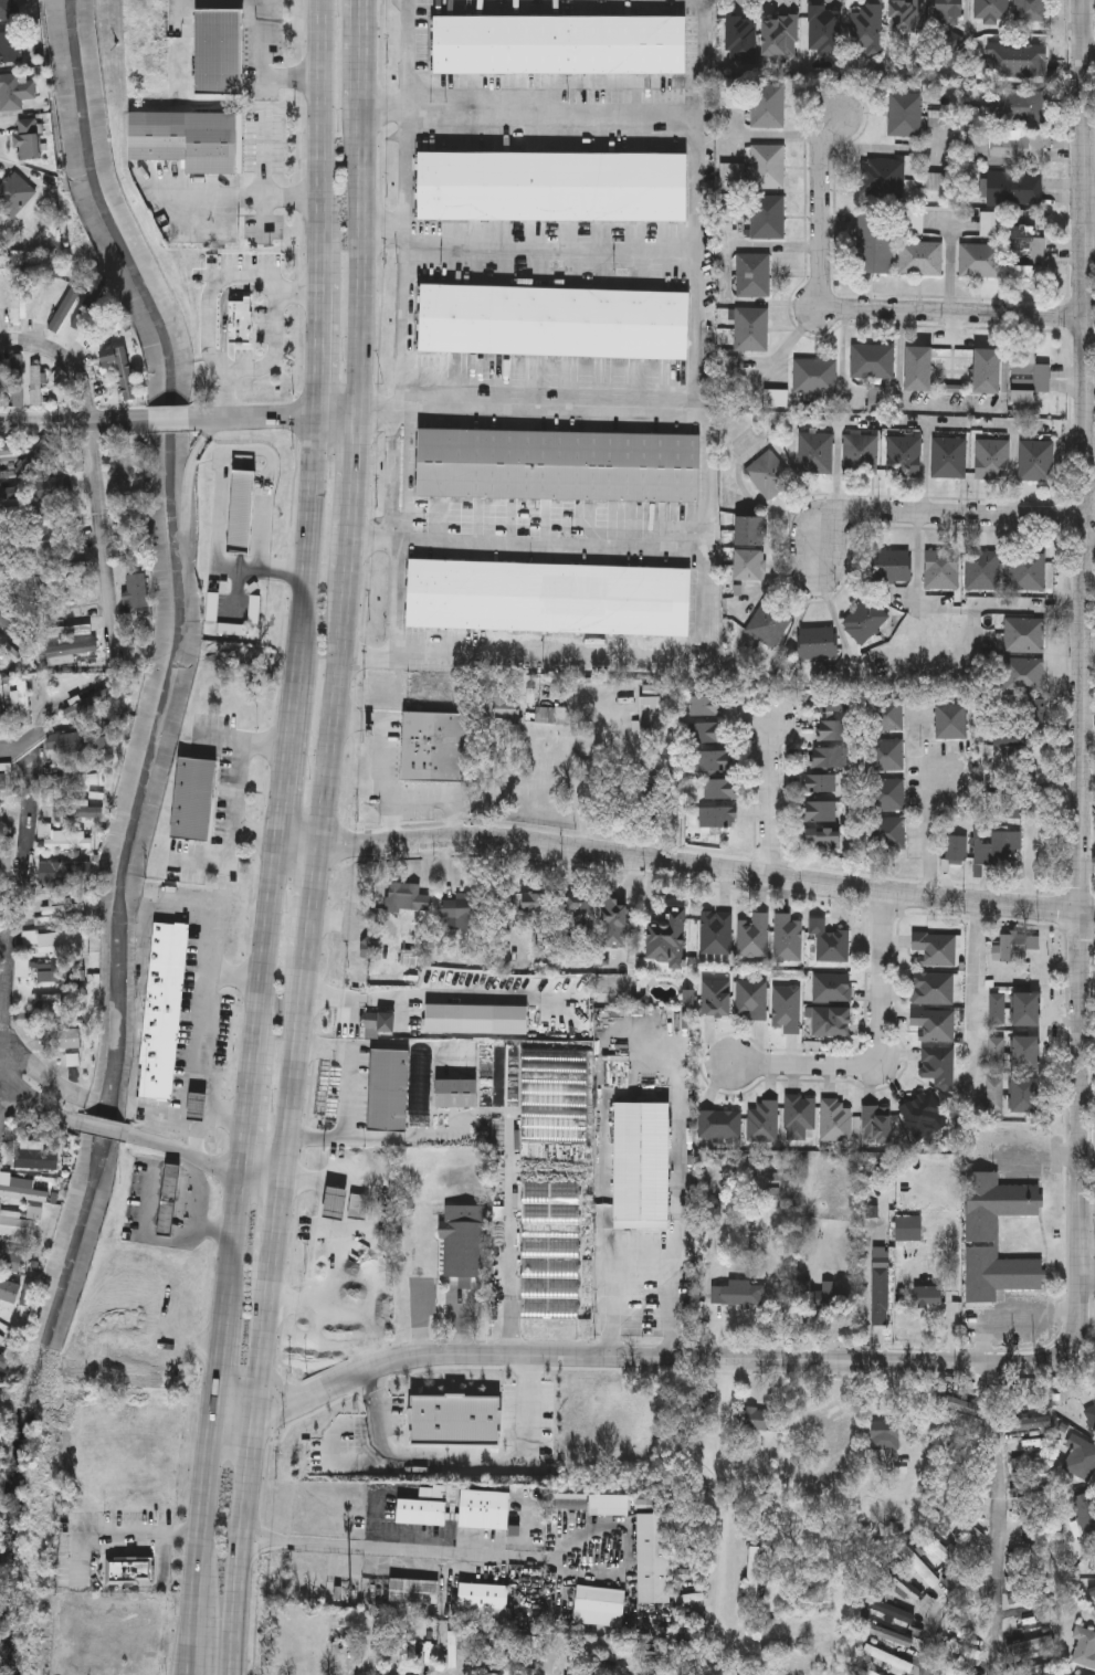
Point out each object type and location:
building: (7, 9)
building: (992, 10)
building: (1031, 10)
building: (948, 12)
building: (907, 19)
building: (825, 29)
building: (867, 29)
building: (780, 36)
building: (741, 39)
building: (559, 44)
building: (10, 46)
building: (218, 51)
road: (1089, 53)
building: (1017, 59)
road: (264, 65)
road: (357, 67)
building: (14, 92)
building: (768, 105)
building: (1017, 105)
road: (526, 109)
building: (905, 114)
building: (940, 118)
road: (317, 138)
building: (29, 139)
building: (187, 139)
building: (1017, 148)
building: (767, 166)
building: (882, 178)
building: (551, 186)
road: (265, 188)
building: (1013, 188)
building: (14, 193)
road: (821, 197)
road: (201, 199)
road: (252, 199)
building: (767, 217)
building: (914, 221)
building: (990, 223)
road: (526, 231)
building: (874, 243)
road: (1091, 246)
building: (1024, 250)
building: (920, 259)
building: (980, 260)
road: (355, 275)
building: (754, 275)
road: (273, 283)
road: (295, 286)
building: (18, 297)
building: (66, 307)
road: (947, 313)
building: (83, 316)
building: (241, 320)
building: (552, 320)
road: (402, 326)
building: (751, 329)
road: (315, 345)
building: (871, 361)
building: (123, 368)
building: (916, 369)
building: (985, 371)
building: (1029, 373)
building: (813, 376)
building: (15, 380)
building: (36, 381)
road: (527, 402)
road: (277, 415)
road: (172, 418)
road: (72, 420)
building: (12, 450)
building: (817, 453)
building: (860, 453)
building: (903, 456)
building: (35, 457)
building: (948, 457)
building: (76, 460)
building: (991, 460)
building: (1035, 461)
building: (122, 464)
building: (558, 464)
road: (97, 468)
building: (770, 474)
building: (55, 488)
building: (11, 493)
road: (349, 494)
road: (752, 501)
road: (704, 510)
road: (934, 516)
building: (56, 518)
building: (135, 527)
building: (751, 528)
road: (525, 537)
road: (304, 545)
road: (1091, 546)
building: (751, 563)
building: (894, 565)
building: (66, 566)
building: (945, 568)
building: (985, 568)
building: (1031, 570)
building: (139, 590)
building: (549, 596)
road: (957, 609)
building: (866, 619)
building: (771, 621)
building: (52, 631)
building: (1026, 633)
building: (820, 642)
building: (75, 646)
building: (8, 650)
building: (1025, 673)
building: (24, 703)
building: (91, 703)
building: (498, 703)
building: (832, 703)
building: (708, 705)
road: (328, 709)
building: (888, 713)
building: (655, 714)
building: (0, 715)
building: (1041, 715)
building: (952, 720)
building: (834, 729)
building: (708, 731)
building: (85, 741)
building: (434, 746)
road: (9, 754)
road: (383, 754)
building: (887, 754)
building: (831, 757)
road: (283, 759)
building: (715, 759)
road: (573, 777)
building: (3, 779)
building: (82, 779)
building: (829, 783)
building: (723, 788)
road: (443, 792)
building: (888, 793)
building: (196, 797)
road: (765, 798)
building: (82, 811)
building: (821, 811)
building: (720, 815)
building: (889, 832)
road: (928, 832)
building: (823, 835)
building: (65, 839)
road: (294, 846)
building: (7, 849)
building: (958, 849)
building: (1002, 849)
road: (698, 865)
building: (409, 896)
road: (308, 898)
road: (7, 900)
building: (534, 902)
building: (62, 906)
road: (12, 907)
building: (465, 908)
building: (582, 909)
road: (1088, 912)
building: (615, 921)
building: (716, 930)
building: (754, 934)
building: (670, 936)
building: (787, 936)
building: (55, 940)
building: (829, 940)
building: (936, 947)
building: (1014, 948)
road: (263, 951)
building: (23, 967)
road: (234, 975)
building: (832, 986)
building: (933, 987)
building: (717, 997)
road: (971, 997)
road: (446, 998)
building: (750, 998)
road: (333, 999)
building: (54, 1002)
building: (786, 1007)
building: (997, 1009)
building: (1029, 1009)
road: (204, 1010)
building: (166, 1011)
building: (829, 1020)
building: (934, 1023)
road: (632, 1037)
building: (59, 1039)
road: (404, 1045)
road: (881, 1049)
building: (997, 1053)
building: (1026, 1053)
road: (293, 1064)
building: (939, 1064)
building: (389, 1091)
building: (456, 1093)
road: (348, 1094)
building: (994, 1095)
building: (1025, 1095)
road: (6, 1098)
road: (34, 1099)
building: (923, 1113)
road: (1080, 1114)
building: (800, 1115)
road: (245, 1116)
building: (764, 1119)
building: (836, 1119)
building: (878, 1121)
building: (720, 1123)
road: (104, 1128)
road: (202, 1129)
road: (208, 1157)
building: (28, 1159)
building: (643, 1166)
building: (23, 1189)
road: (324, 1191)
building: (169, 1199)
building: (335, 1204)
building: (997, 1204)
building: (357, 1208)
road: (278, 1223)
building: (18, 1225)
building: (909, 1229)
building: (464, 1241)
road: (514, 1257)
building: (11, 1260)
building: (999, 1274)
road: (643, 1275)
road: (1087, 1275)
building: (550, 1278)
building: (10, 1291)
building: (720, 1295)
building: (750, 1295)
building: (882, 1296)
building: (822, 1297)
building: (928, 1297)
building: (145, 1361)
building: (1025, 1399)
building: (957, 1402)
building: (1091, 1415)
building: (751, 1418)
building: (455, 1422)
road: (210, 1423)
building: (1028, 1423)
road: (931, 1425)
building: (883, 1441)
building: (1029, 1442)
building: (1081, 1461)
road: (348, 1464)
building: (1031, 1464)
road: (459, 1465)
road: (249, 1469)
road: (722, 1492)
building: (571, 1502)
building: (610, 1504)
building: (485, 1508)
building: (422, 1510)
building: (1085, 1515)
road: (1001, 1519)
road: (119, 1536)
building: (941, 1549)
road: (505, 1557)
building: (654, 1558)
building: (917, 1563)
building: (129, 1571)
building: (752, 1571)
building: (413, 1590)
building: (484, 1594)
building: (599, 1605)
building: (1029, 1606)
road: (937, 1608)
building: (892, 1610)
road: (588, 1640)
building: (960, 1648)
building: (1082, 1648)
building: (886, 1657)
road: (375, 1668)
building: (961, 1673)

